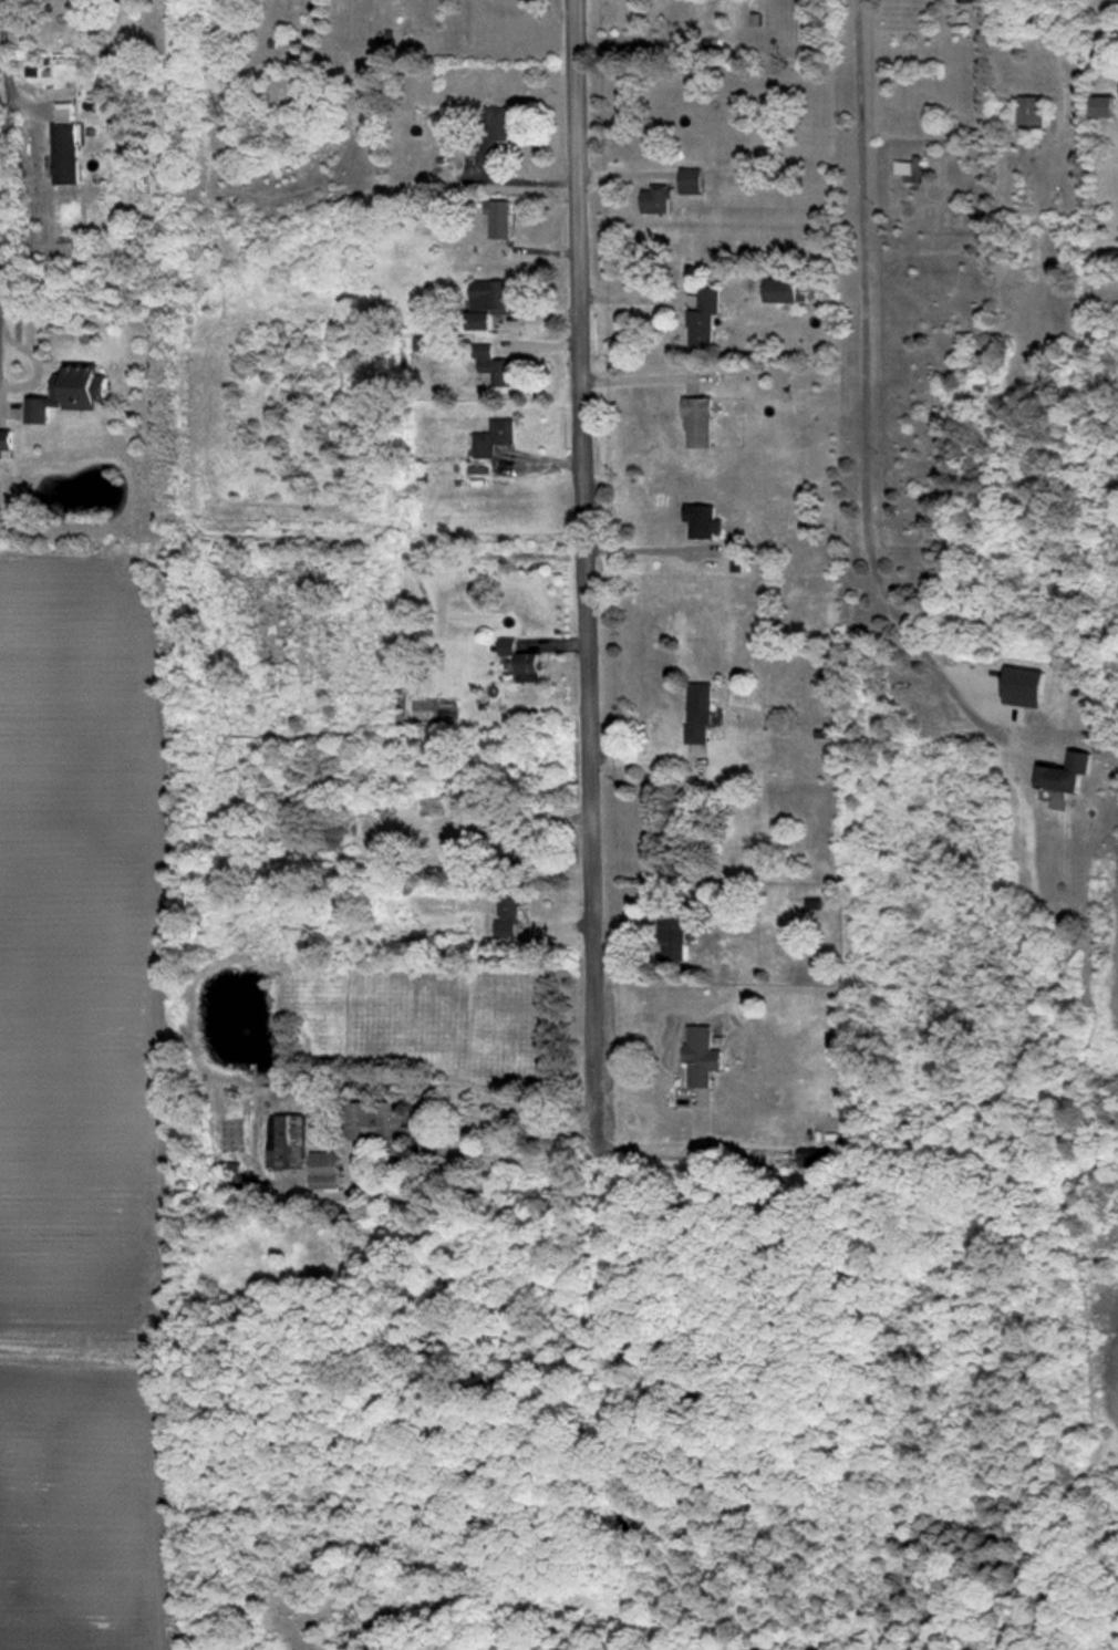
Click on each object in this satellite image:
building: (967, 1)
road: (6, 74)
building: (1103, 106)
building: (1031, 111)
building: (495, 132)
building: (65, 145)
building: (691, 180)
road: (513, 181)
building: (656, 199)
building: (498, 218)
building: (780, 290)
building: (489, 301)
building: (703, 319)
building: (493, 365)
road: (866, 388)
building: (70, 393)
building: (698, 422)
building: (493, 437)
building: (6, 439)
building: (703, 520)
road: (581, 540)
road: (643, 558)
building: (506, 646)
building: (528, 667)
building: (1023, 687)
building: (697, 713)
road: (644, 761)
building: (1067, 774)
building: (504, 838)
building: (508, 912)
building: (673, 935)
building: (702, 1056)
road: (588, 1102)
building: (380, 1123)
road: (520, 1140)
building: (286, 1141)
road: (653, 1148)
building: (812, 1158)
building: (323, 1170)
road: (423, 1195)

